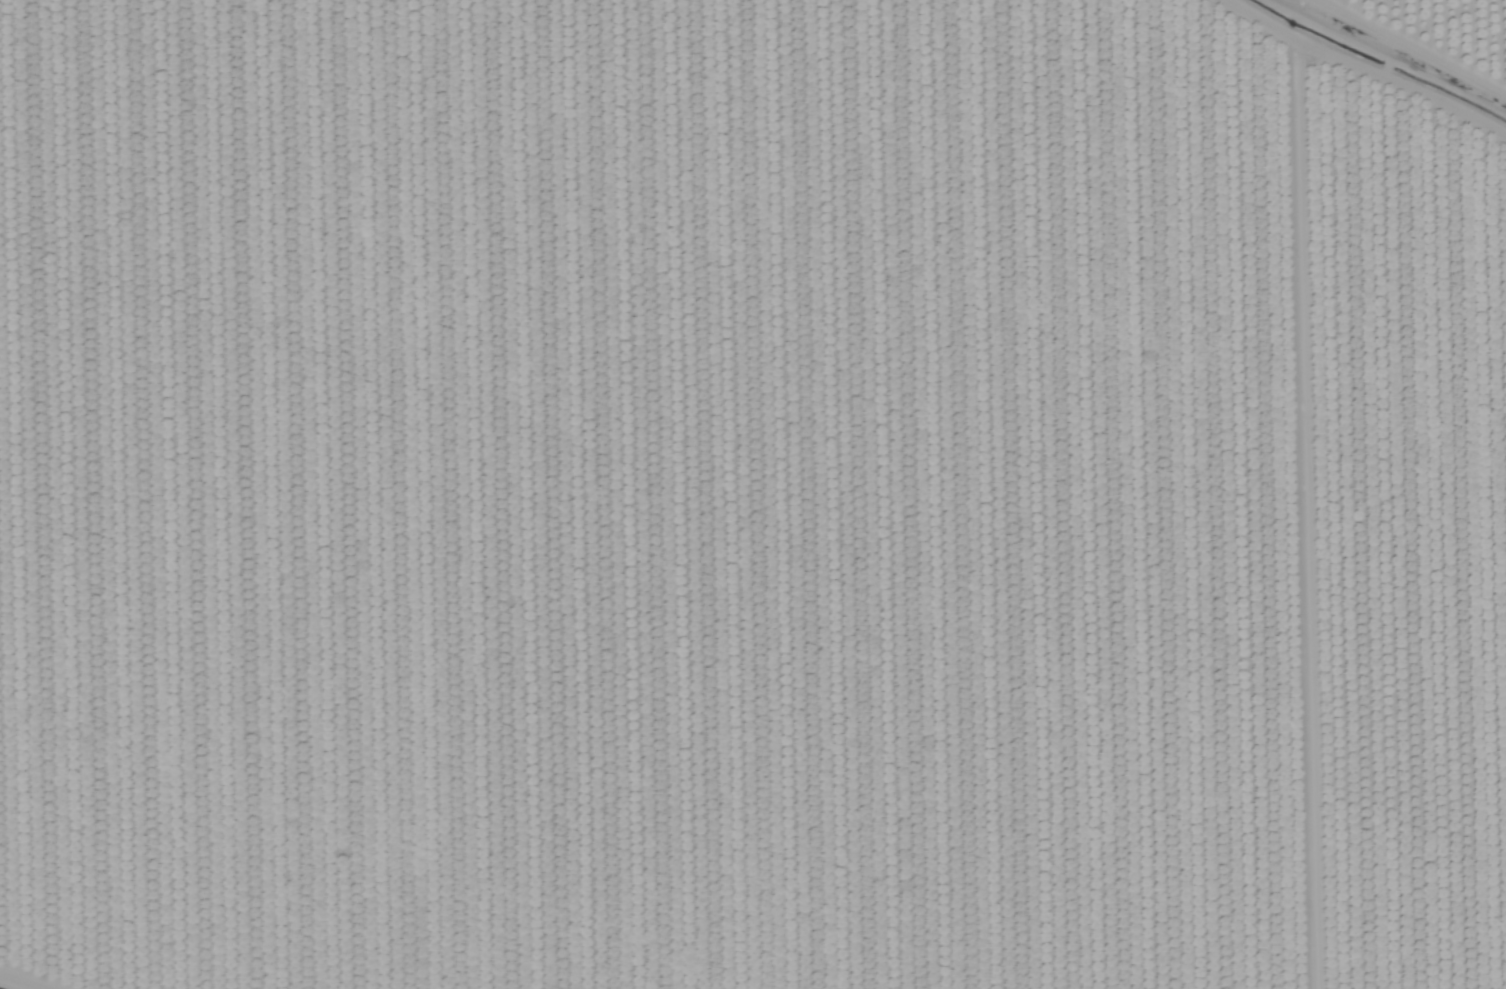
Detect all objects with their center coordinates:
crop: (1438, 32)
crop: (743, 501)

